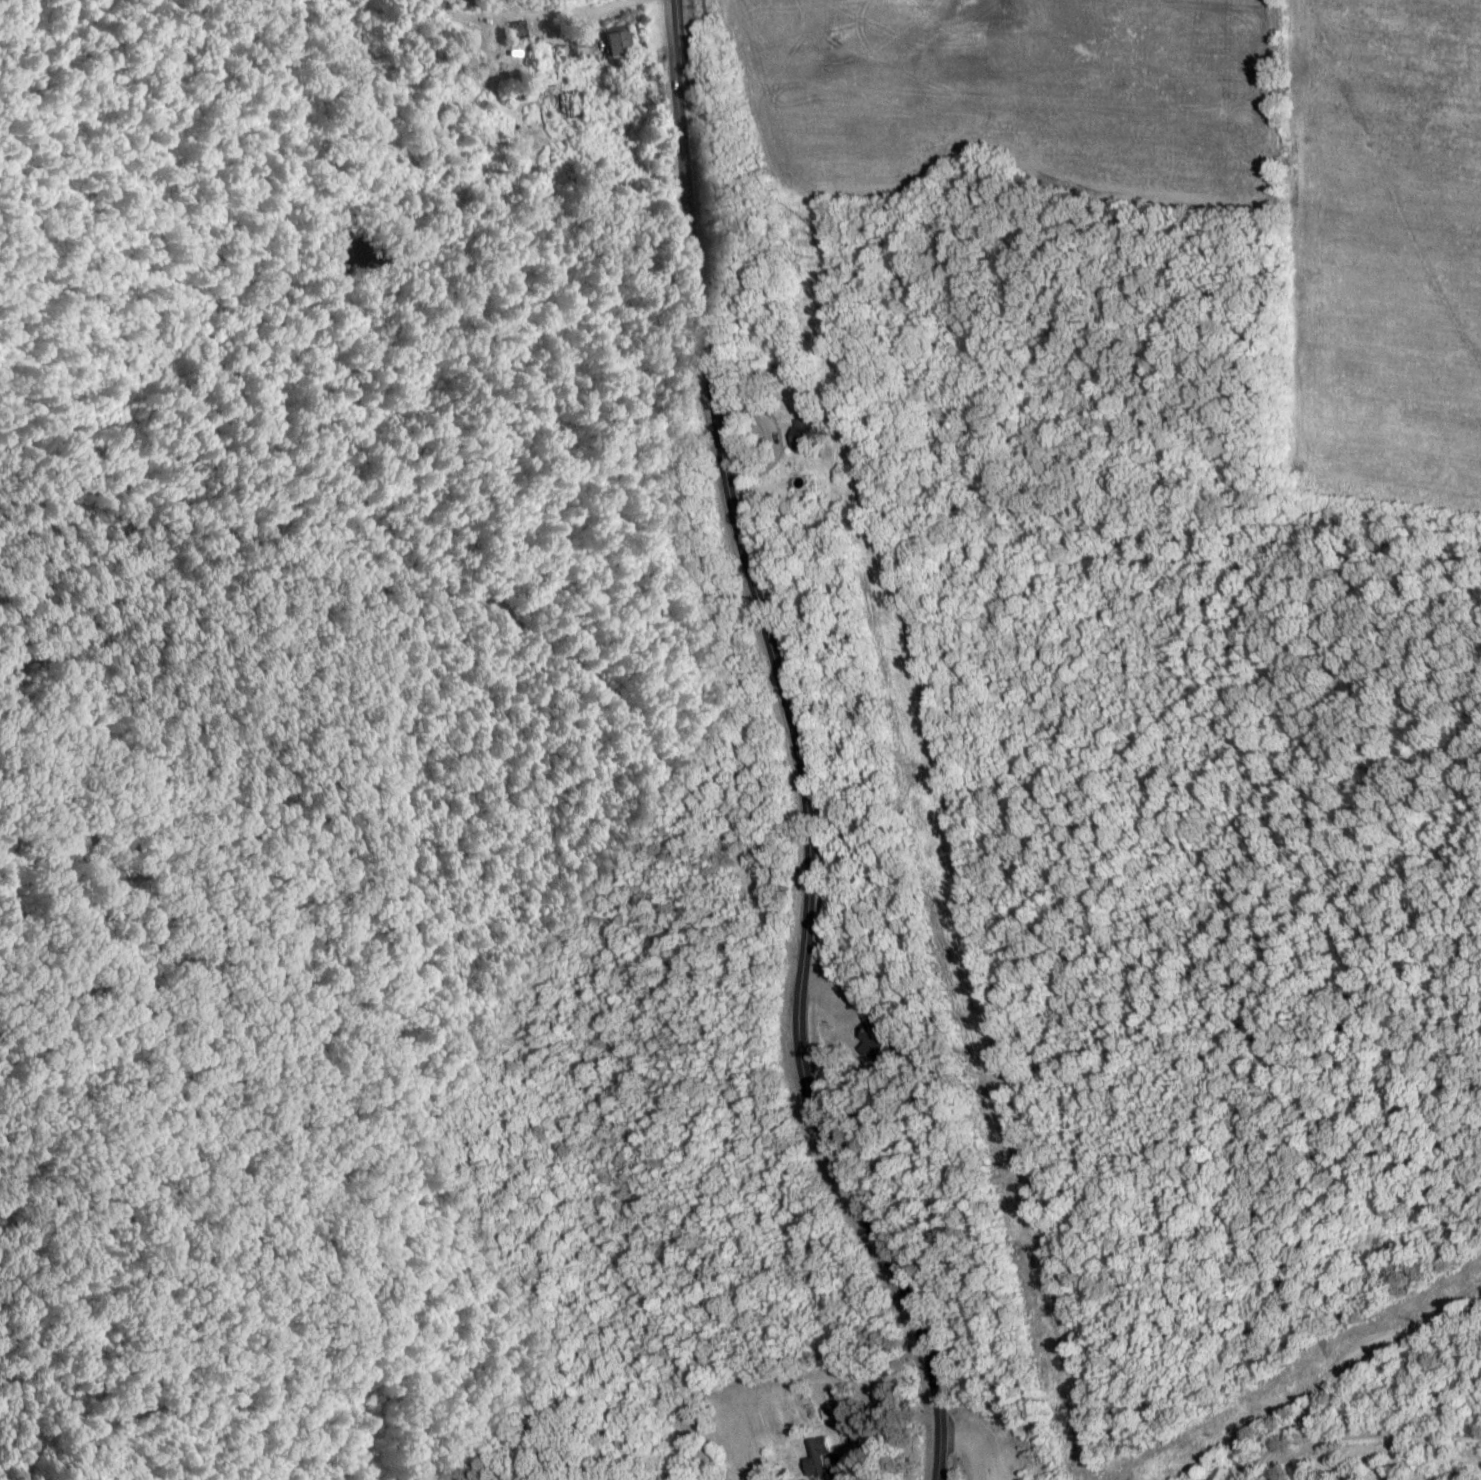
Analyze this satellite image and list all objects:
building: (622, 47)
building: (808, 436)
road: (794, 749)
building: (877, 1041)
road: (1348, 1354)
road: (960, 1453)
building: (815, 1459)
road: (1249, 1472)

